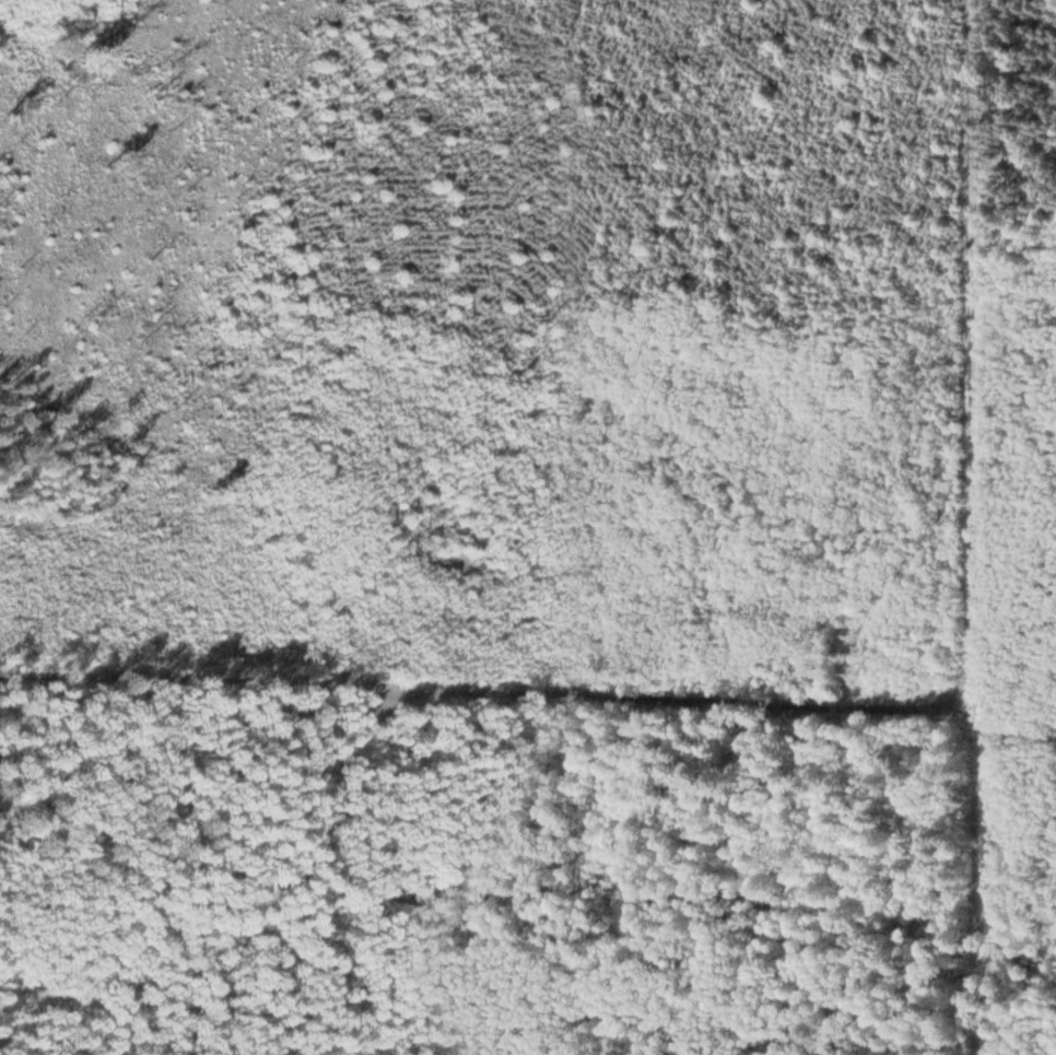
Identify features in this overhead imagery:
road: (988, 527)
road: (495, 691)

